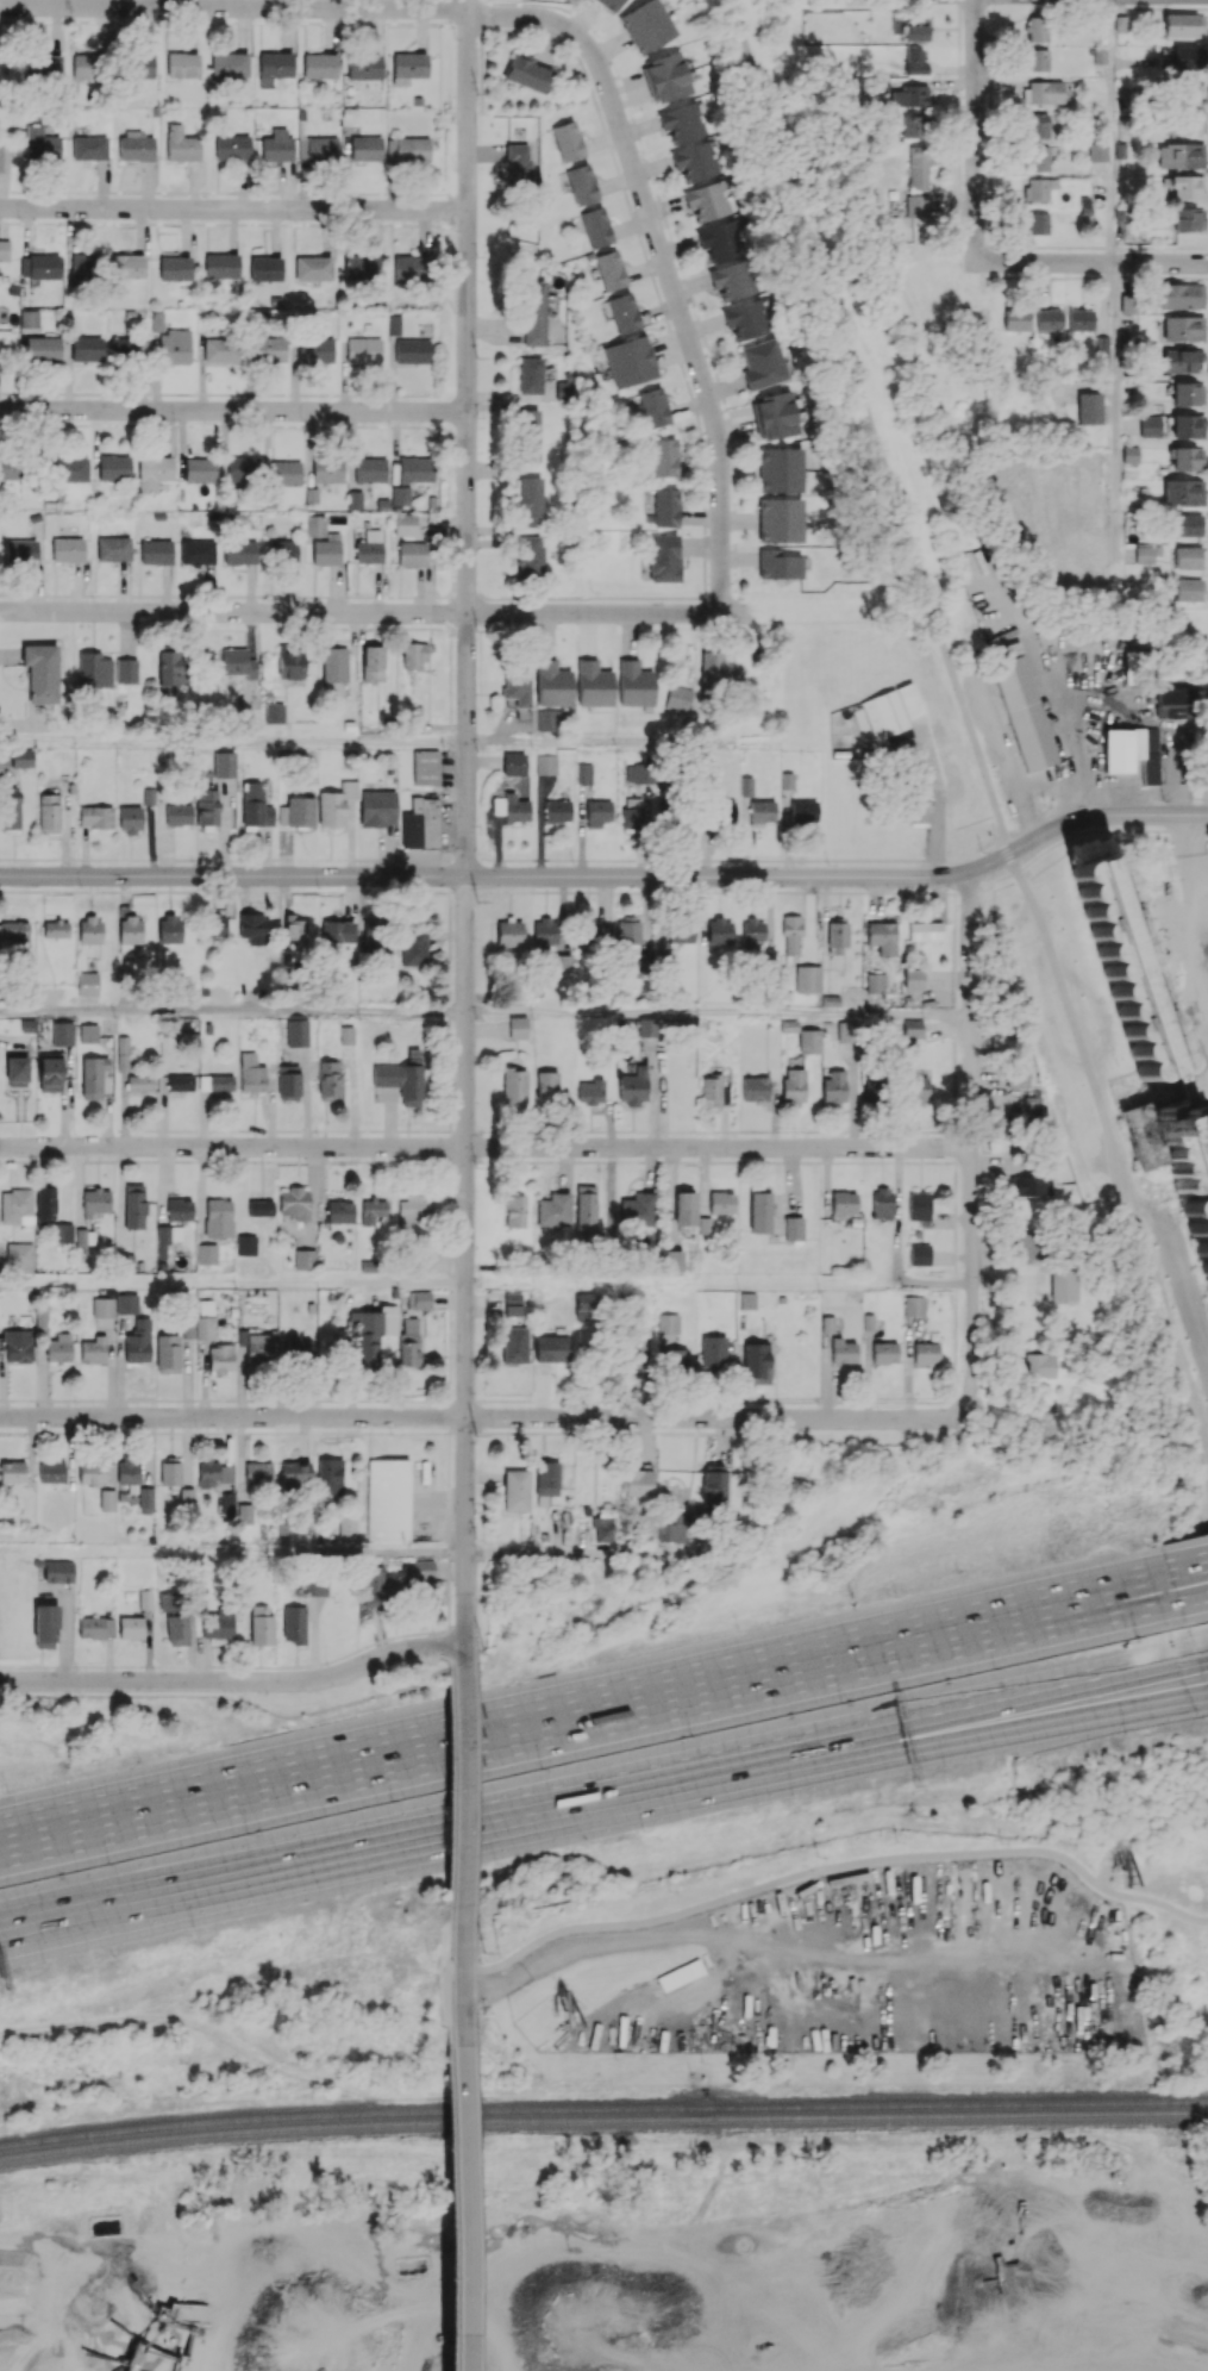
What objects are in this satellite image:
building: (611, 4)
road: (232, 6)
building: (646, 25)
building: (1184, 25)
building: (918, 29)
building: (1037, 29)
building: (1184, 58)
building: (1038, 60)
building: (915, 61)
building: (182, 64)
building: (230, 64)
building: (275, 64)
building: (319, 64)
building: (85, 65)
building: (142, 65)
building: (364, 67)
building: (408, 67)
building: (43, 68)
building: (528, 74)
building: (665, 77)
building: (1193, 91)
building: (1043, 92)
building: (909, 95)
building: (681, 121)
building: (1191, 121)
building: (914, 125)
building: (1038, 125)
road: (974, 131)
road: (1112, 131)
building: (568, 141)
building: (40, 144)
building: (181, 144)
building: (136, 145)
building: (277, 145)
building: (232, 146)
building: (88, 148)
building: (365, 148)
building: (317, 149)
building: (407, 149)
building: (1097, 152)
building: (0, 155)
building: (1179, 155)
building: (1037, 158)
building: (695, 160)
building: (517, 166)
building: (918, 168)
building: (581, 183)
building: (1184, 186)
building: (1040, 188)
building: (706, 200)
building: (915, 205)
road: (233, 208)
building: (1122, 214)
building: (1188, 219)
building: (1037, 223)
building: (595, 226)
building: (719, 241)
building: (4, 250)
road: (663, 258)
road: (1090, 262)
building: (39, 266)
building: (83, 266)
building: (127, 266)
building: (221, 266)
building: (361, 267)
building: (175, 268)
building: (265, 268)
building: (313, 268)
building: (411, 268)
building: (609, 269)
building: (731, 280)
building: (1181, 295)
building: (1131, 301)
building: (532, 312)
building: (622, 313)
building: (27, 318)
building: (745, 319)
building: (1015, 319)
building: (1047, 319)
building: (1079, 319)
building: (393, 324)
building: (1183, 327)
building: (171, 341)
building: (43, 348)
building: (87, 348)
building: (127, 348)
building: (268, 349)
building: (221, 350)
building: (315, 350)
building: (363, 350)
building: (412, 350)
building: (1181, 360)
building: (630, 361)
building: (762, 363)
building: (530, 375)
building: (564, 389)
building: (1188, 393)
building: (653, 407)
building: (1089, 407)
road: (233, 411)
road: (1112, 411)
building: (775, 414)
road: (869, 419)
building: (1150, 425)
building: (1185, 426)
building: (528, 435)
road: (468, 437)
building: (1129, 454)
building: (665, 457)
building: (1183, 458)
building: (113, 467)
building: (242, 467)
building: (68, 469)
building: (196, 469)
building: (369, 469)
building: (415, 469)
building: (780, 469)
building: (327, 470)
building: (152, 472)
building: (284, 473)
building: (8, 475)
building: (1140, 489)
building: (1183, 492)
building: (400, 495)
building: (530, 501)
building: (665, 507)
building: (780, 519)
building: (403, 524)
building: (1188, 524)
building: (321, 541)
building: (369, 547)
building: (113, 548)
building: (67, 549)
building: (20, 550)
building: (245, 550)
building: (156, 551)
building: (198, 551)
building: (283, 551)
building: (415, 553)
building: (1144, 555)
building: (530, 556)
building: (1188, 556)
building: (664, 557)
building: (778, 564)
building: (1188, 589)
road: (378, 612)
building: (413, 655)
building: (289, 660)
building: (238, 662)
building: (333, 663)
building: (373, 663)
building: (1137, 664)
building: (712, 668)
building: (94, 670)
building: (126, 670)
building: (40, 672)
building: (170, 672)
building: (552, 684)
building: (593, 684)
building: (634, 684)
building: (517, 686)
building: (678, 698)
building: (1171, 701)
building: (1020, 703)
building: (891, 710)
building: (274, 712)
building: (547, 719)
road: (232, 742)
road: (640, 742)
building: (847, 751)
building: (1131, 751)
building: (21, 757)
building: (224, 763)
building: (513, 763)
building: (546, 763)
building: (426, 767)
building: (584, 773)
building: (637, 773)
building: (787, 779)
building: (746, 786)
road: (1126, 798)
street lamp: (1163, 801)
building: (334, 804)
building: (919, 804)
building: (255, 805)
building: (207, 806)
building: (377, 807)
building: (511, 807)
building: (10, 809)
building: (725, 809)
building: (762, 810)
building: (298, 811)
building: (557, 811)
building: (803, 811)
building: (48, 812)
building: (597, 812)
building: (177, 813)
building: (632, 815)
road: (1184, 815)
building: (95, 816)
road: (1079, 816)
building: (129, 819)
road: (1026, 822)
building: (420, 823)
road: (1003, 847)
street lamp: (981, 851)
road: (1009, 859)
road: (738, 860)
street lamp: (572, 863)
street lamp: (697, 863)
street lamp: (826, 865)
road: (935, 874)
road: (31, 875)
road: (462, 875)
street lamp: (80, 886)
street lamp: (318, 887)
street lamp: (477, 900)
building: (214, 924)
building: (55, 928)
building: (254, 928)
building: (130, 929)
building: (169, 929)
building: (628, 929)
building: (89, 930)
building: (925, 930)
building: (338, 931)
building: (375, 931)
building: (590, 931)
building: (681, 931)
building: (719, 931)
building: (752, 931)
building: (14, 932)
building: (509, 932)
building: (791, 935)
building: (837, 937)
building: (882, 937)
building: (413, 947)
building: (1125, 967)
silo: (1125, 967)
building: (924, 978)
building: (807, 979)
building: (875, 982)
building: (88, 984)
road: (232, 1012)
road: (718, 1015)
street lamp: (475, 1018)
building: (518, 1027)
building: (645, 1027)
building: (913, 1028)
building: (846, 1031)
building: (62, 1032)
building: (88, 1032)
building: (296, 1032)
building: (809, 1041)
building: (123, 1053)
building: (251, 1073)
building: (49, 1074)
building: (92, 1075)
building: (402, 1078)
building: (1018, 1078)
building: (288, 1081)
building: (330, 1081)
building: (139, 1082)
building: (180, 1082)
building: (215, 1082)
building: (633, 1086)
building: (794, 1086)
building: (513, 1087)
building: (546, 1087)
building: (834, 1087)
building: (755, 1090)
building: (872, 1090)
building: (916, 1090)
building: (590, 1091)
building: (713, 1091)
road: (970, 1144)
road: (484, 1147)
building: (1187, 1165)
silo: (1187, 1165)
road: (1113, 1166)
street lamp: (477, 1168)
building: (1029, 1185)
road: (449, 1198)
building: (44, 1202)
building: (95, 1202)
building: (721, 1202)
building: (844, 1202)
building: (882, 1202)
building: (295, 1203)
building: (919, 1205)
building: (15, 1206)
building: (133, 1206)
building: (259, 1208)
building: (586, 1208)
building: (684, 1208)
building: (179, 1209)
building: (637, 1209)
building: (371, 1210)
building: (553, 1210)
building: (339, 1211)
building: (413, 1211)
building: (514, 1211)
building: (758, 1212)
building: (218, 1217)
building: (794, 1228)
building: (62, 1233)
road: (465, 1234)
building: (167, 1238)
building: (245, 1244)
building: (1025, 1247)
building: (206, 1254)
building: (919, 1254)
building: (18, 1256)
building: (305, 1259)
building: (670, 1259)
building: (126, 1262)
road: (232, 1284)
building: (1064, 1284)
road: (718, 1286)
street lamp: (475, 1289)
building: (419, 1299)
building: (747, 1299)
building: (126, 1303)
building: (515, 1303)
building: (587, 1304)
building: (914, 1305)
building: (102, 1306)
building: (668, 1323)
building: (205, 1327)
building: (188, 1328)
building: (373, 1333)
building: (138, 1341)
building: (409, 1342)
building: (258, 1344)
building: (514, 1344)
building: (18, 1346)
building: (58, 1347)
building: (300, 1348)
building: (551, 1348)
building: (93, 1349)
building: (843, 1350)
building: (884, 1352)
building: (168, 1353)
building: (925, 1353)
building: (712, 1354)
building: (220, 1358)
building: (636, 1358)
building: (676, 1359)
building: (756, 1362)
building: (1039, 1365)
road: (482, 1417)
street lamp: (477, 1436)
building: (258, 1471)
building: (12, 1472)
building: (51, 1472)
building: (95, 1472)
building: (207, 1472)
building: (170, 1473)
building: (294, 1474)
building: (330, 1477)
building: (546, 1478)
building: (638, 1481)
building: (515, 1489)
building: (714, 1489)
building: (106, 1499)
building: (146, 1499)
building: (389, 1499)
building: (227, 1502)
building: (244, 1514)
building: (346, 1524)
building: (602, 1524)
building: (672, 1529)
street lamp: (475, 1539)
road: (232, 1553)
road: (582, 1554)
road: (1188, 1568)
building: (424, 1570)
building: (58, 1571)
building: (315, 1585)
building: (375, 1587)
road: (1193, 1593)
building: (146, 1599)
building: (167, 1601)
building: (218, 1623)
building: (293, 1623)
building: (44, 1624)
building: (259, 1624)
building: (95, 1627)
building: (131, 1627)
building: (176, 1629)
road: (465, 1629)
street lamp: (737, 1629)
street lamp: (433, 1633)
road: (859, 1643)
street lamp: (482, 1645)
road: (1201, 1648)
road: (864, 1659)
street lamp: (581, 1664)
road: (236, 1680)
road: (1206, 1684)
street lamp: (423, 1697)
street lamp: (287, 1726)
street lamp: (690, 1735)
road: (781, 1748)
street lamp: (169, 1751)
road: (787, 1766)
street lamp: (540, 1767)
road: (276, 1780)
road: (464, 1784)
road: (450, 1789)
street lamp: (6, 1790)
street lamp: (390, 1799)
street lamp: (643, 1830)
street lamp: (245, 1833)
street lamp: (495, 1861)
street lamp: (107, 1863)
road: (845, 1863)
road: (184, 1888)
street lamp: (342, 1895)
street lamp: (192, 1928)
road: (464, 1933)
road: (451, 1934)
power tower: (483, 1949)
road: (465, 1961)
street lamp: (42, 1963)
road: (444, 1995)
road: (464, 2003)
street lamp: (480, 2008)
railway: (602, 2110)
railway: (602, 2121)
road: (449, 2201)
road: (463, 2208)

